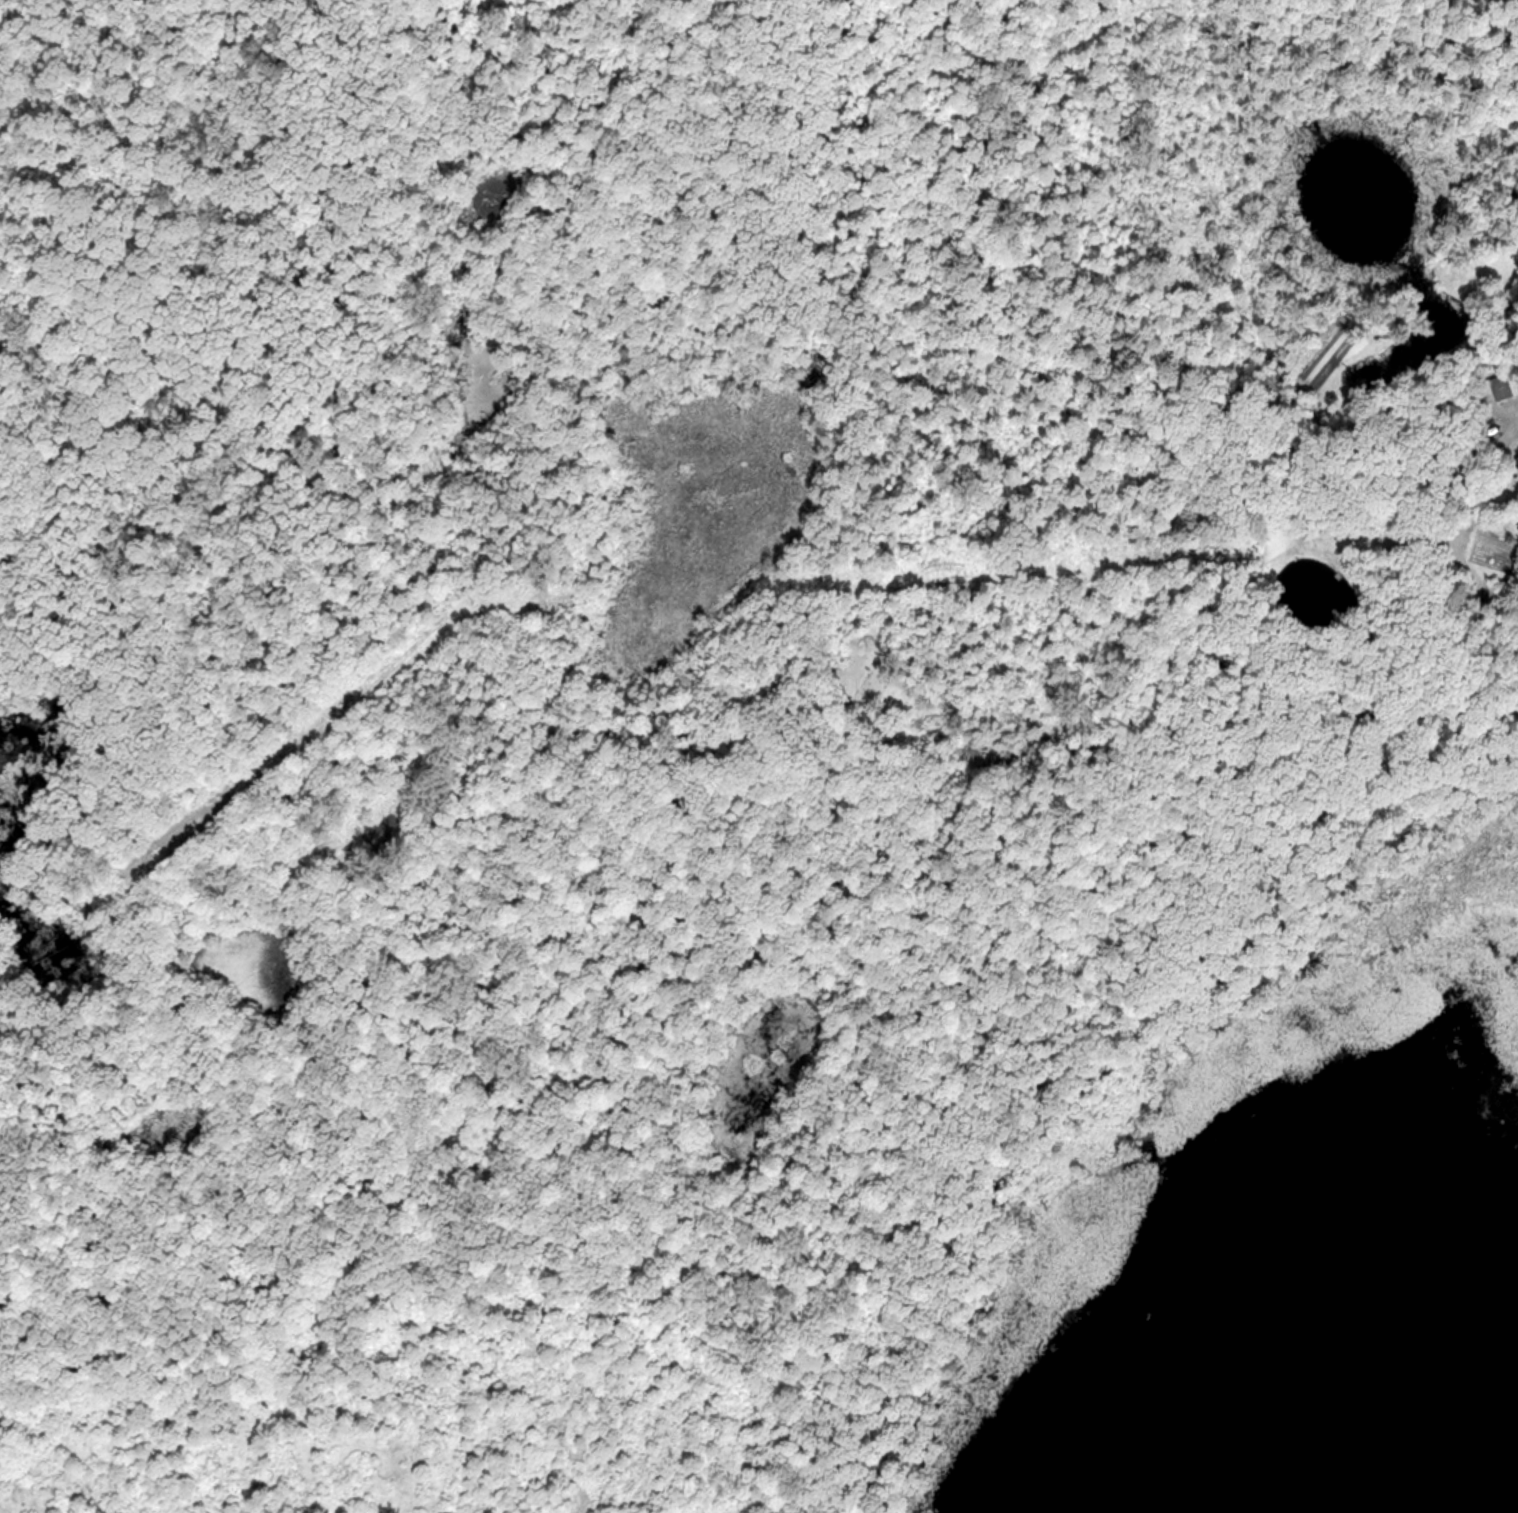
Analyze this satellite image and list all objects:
road: (342, 382)
building: (1499, 387)
park: (665, 699)
road: (953, 728)

